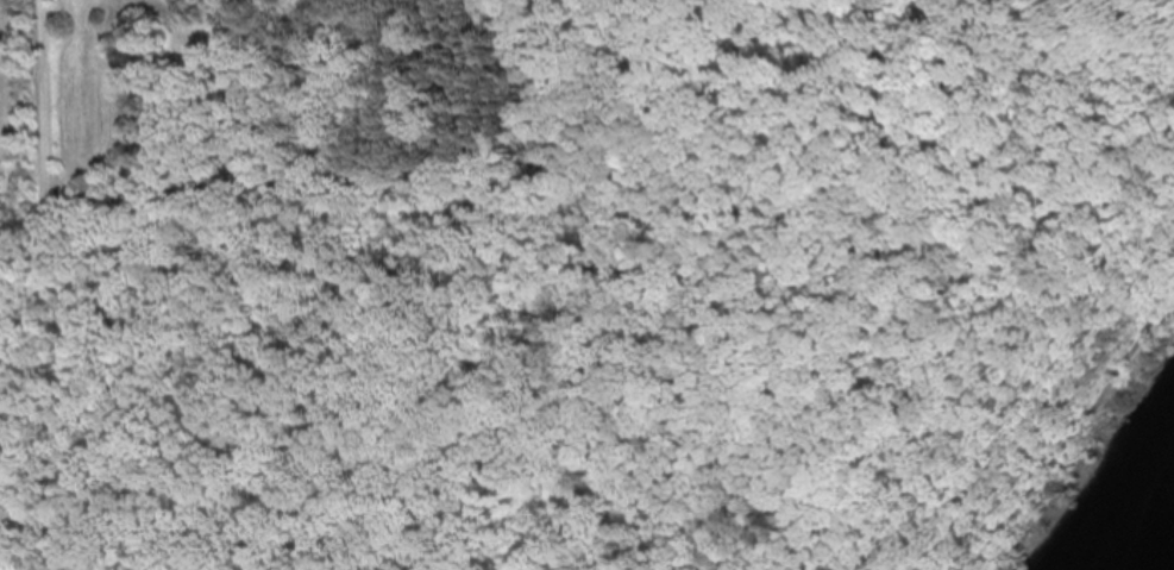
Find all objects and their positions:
road: (54, 287)

